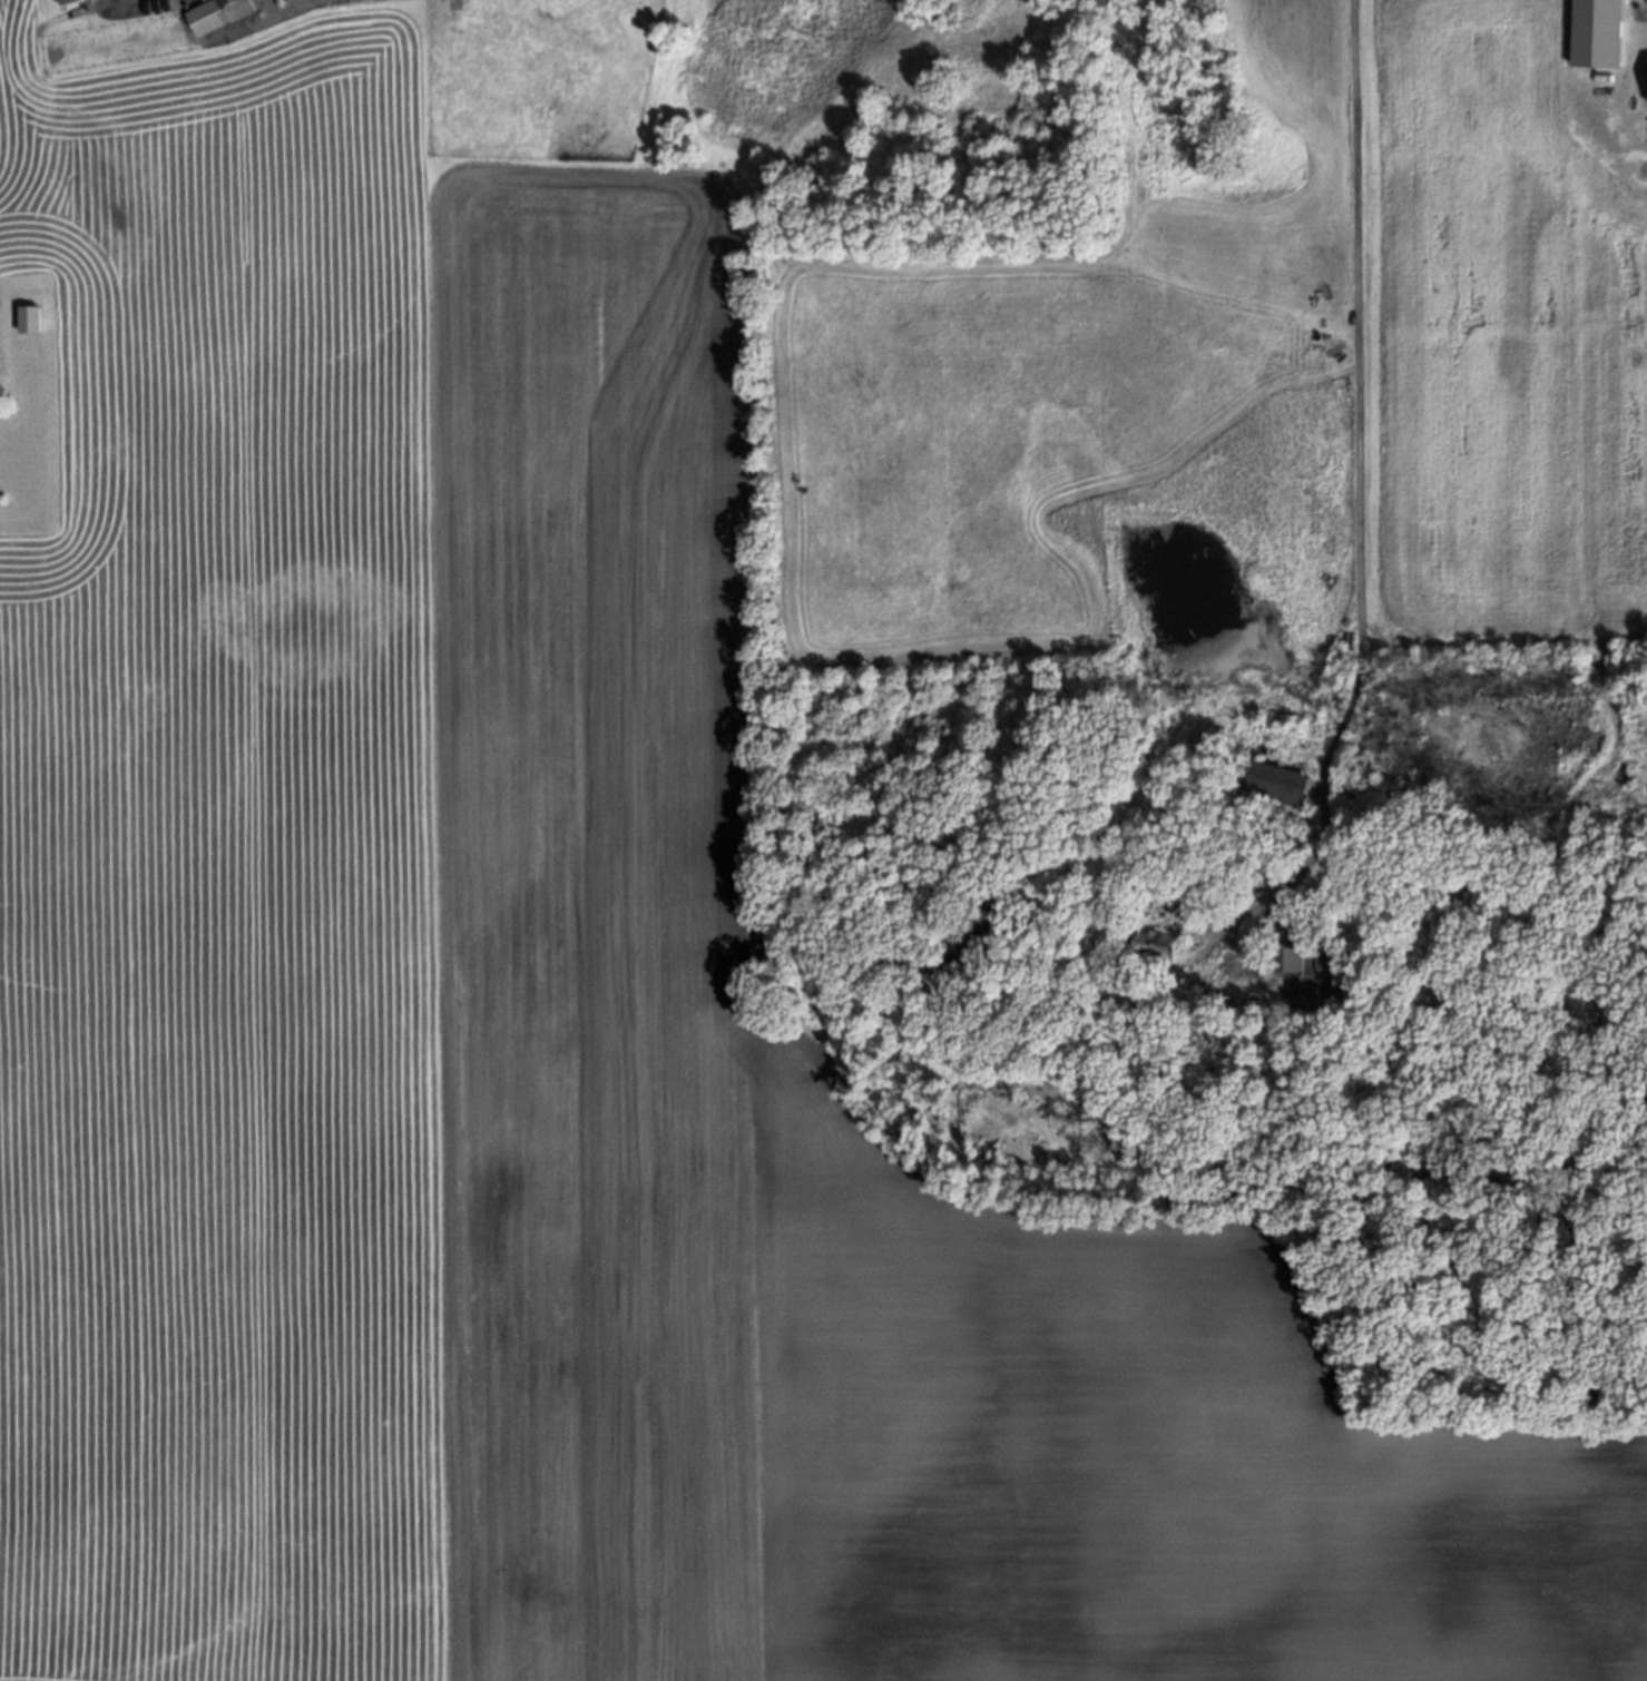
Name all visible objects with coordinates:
building: (63, 0)
building: (216, 12)
building: (28, 315)
road: (1359, 462)
building: (1274, 729)
building: (1278, 781)
road: (1184, 911)
building: (1121, 920)
building: (1151, 943)
building: (1286, 957)
building: (1176, 977)

